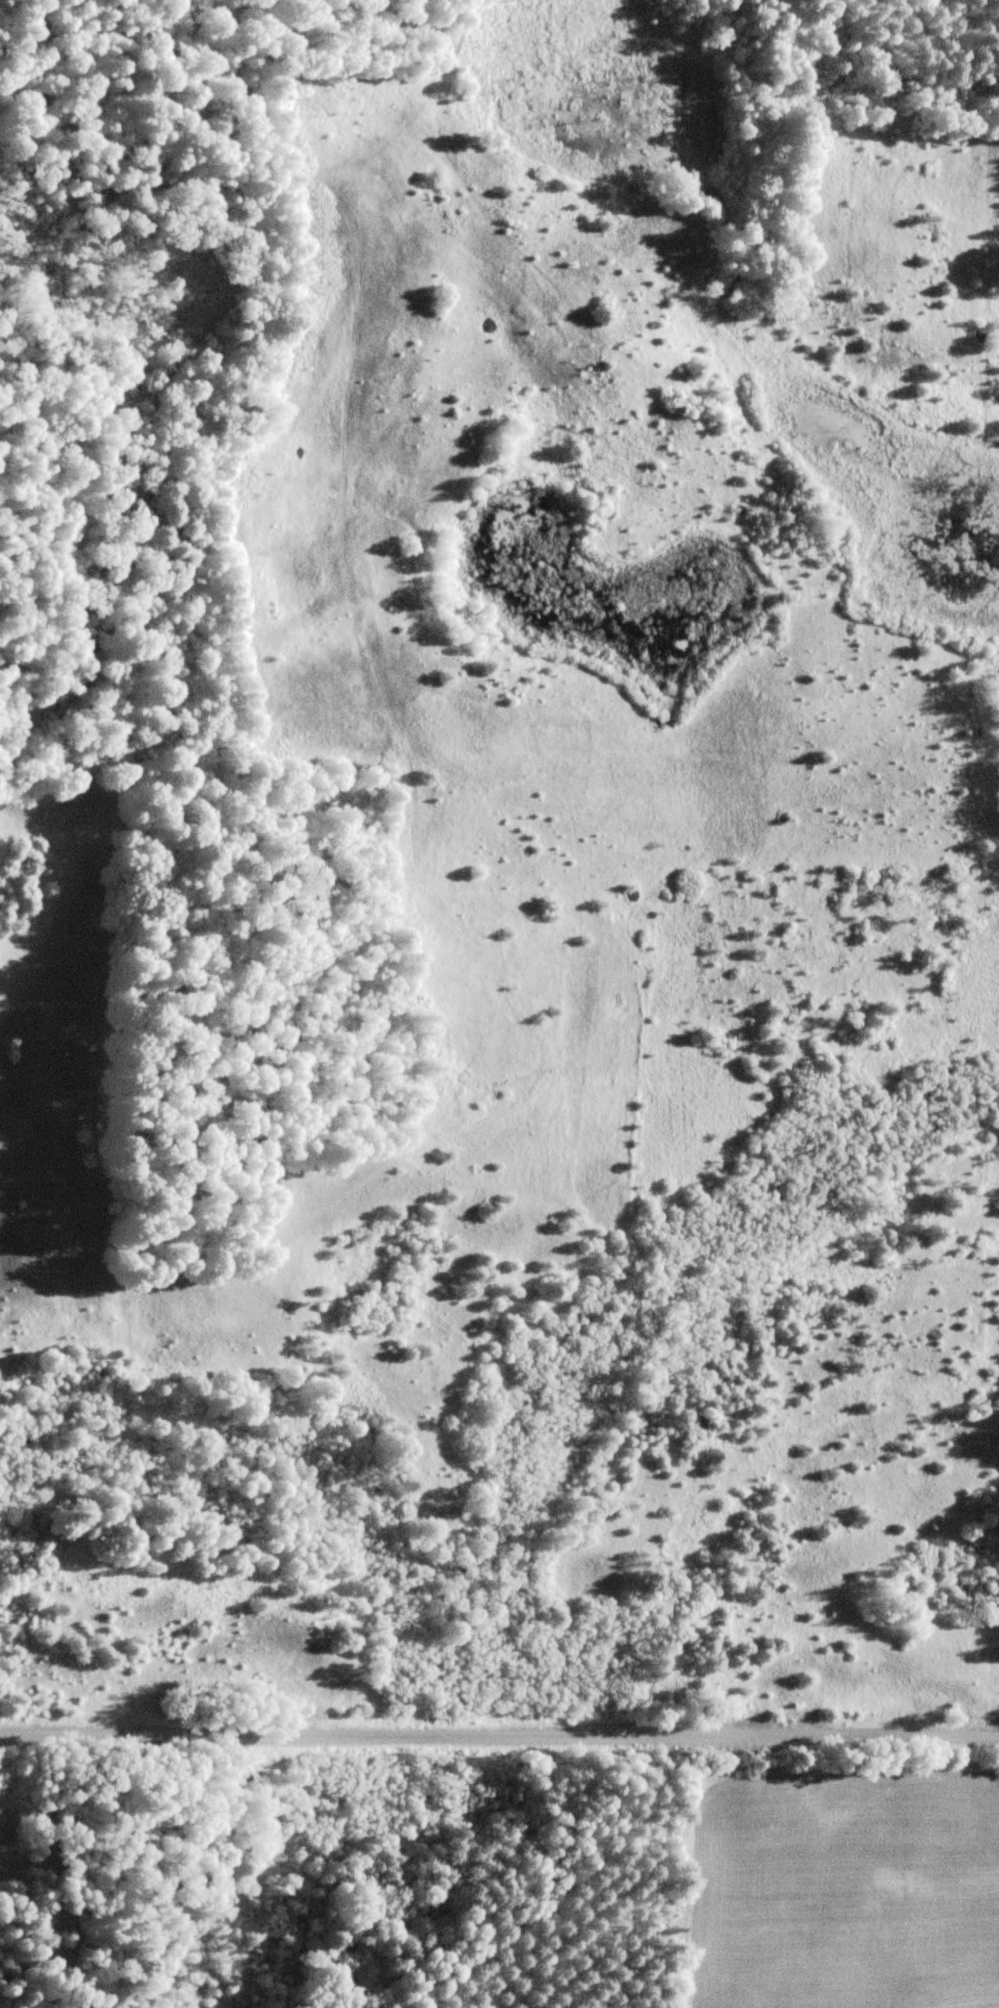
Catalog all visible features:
road: (499, 1735)

